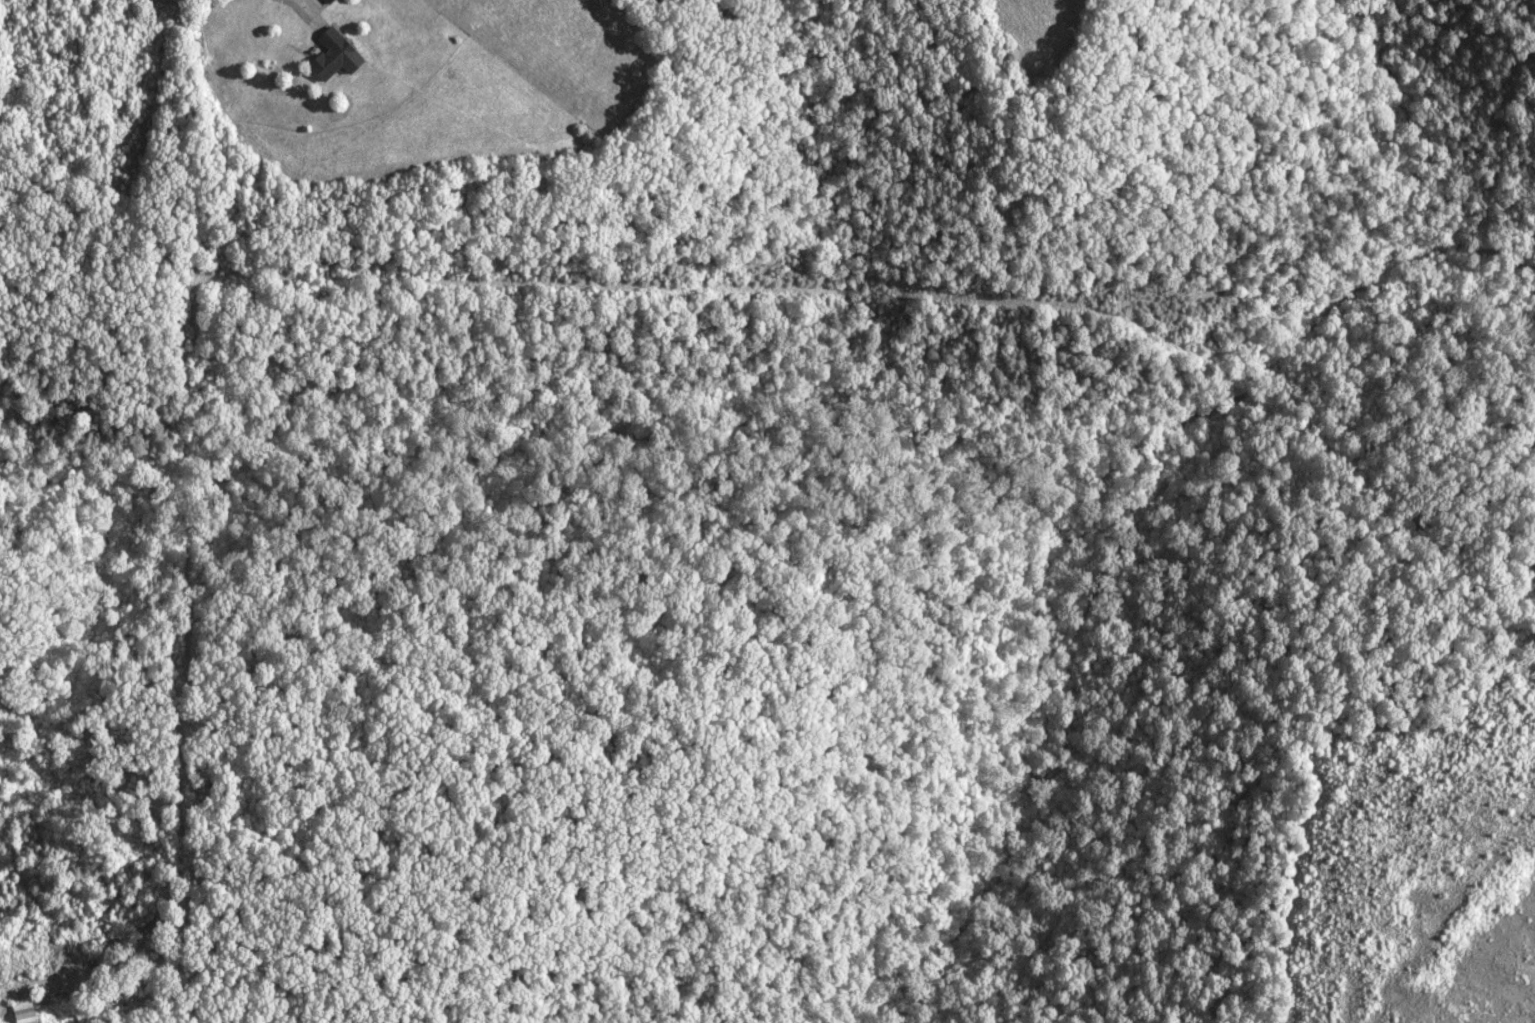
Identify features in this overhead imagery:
building: (324, 1)
road: (306, 11)
building: (329, 54)

